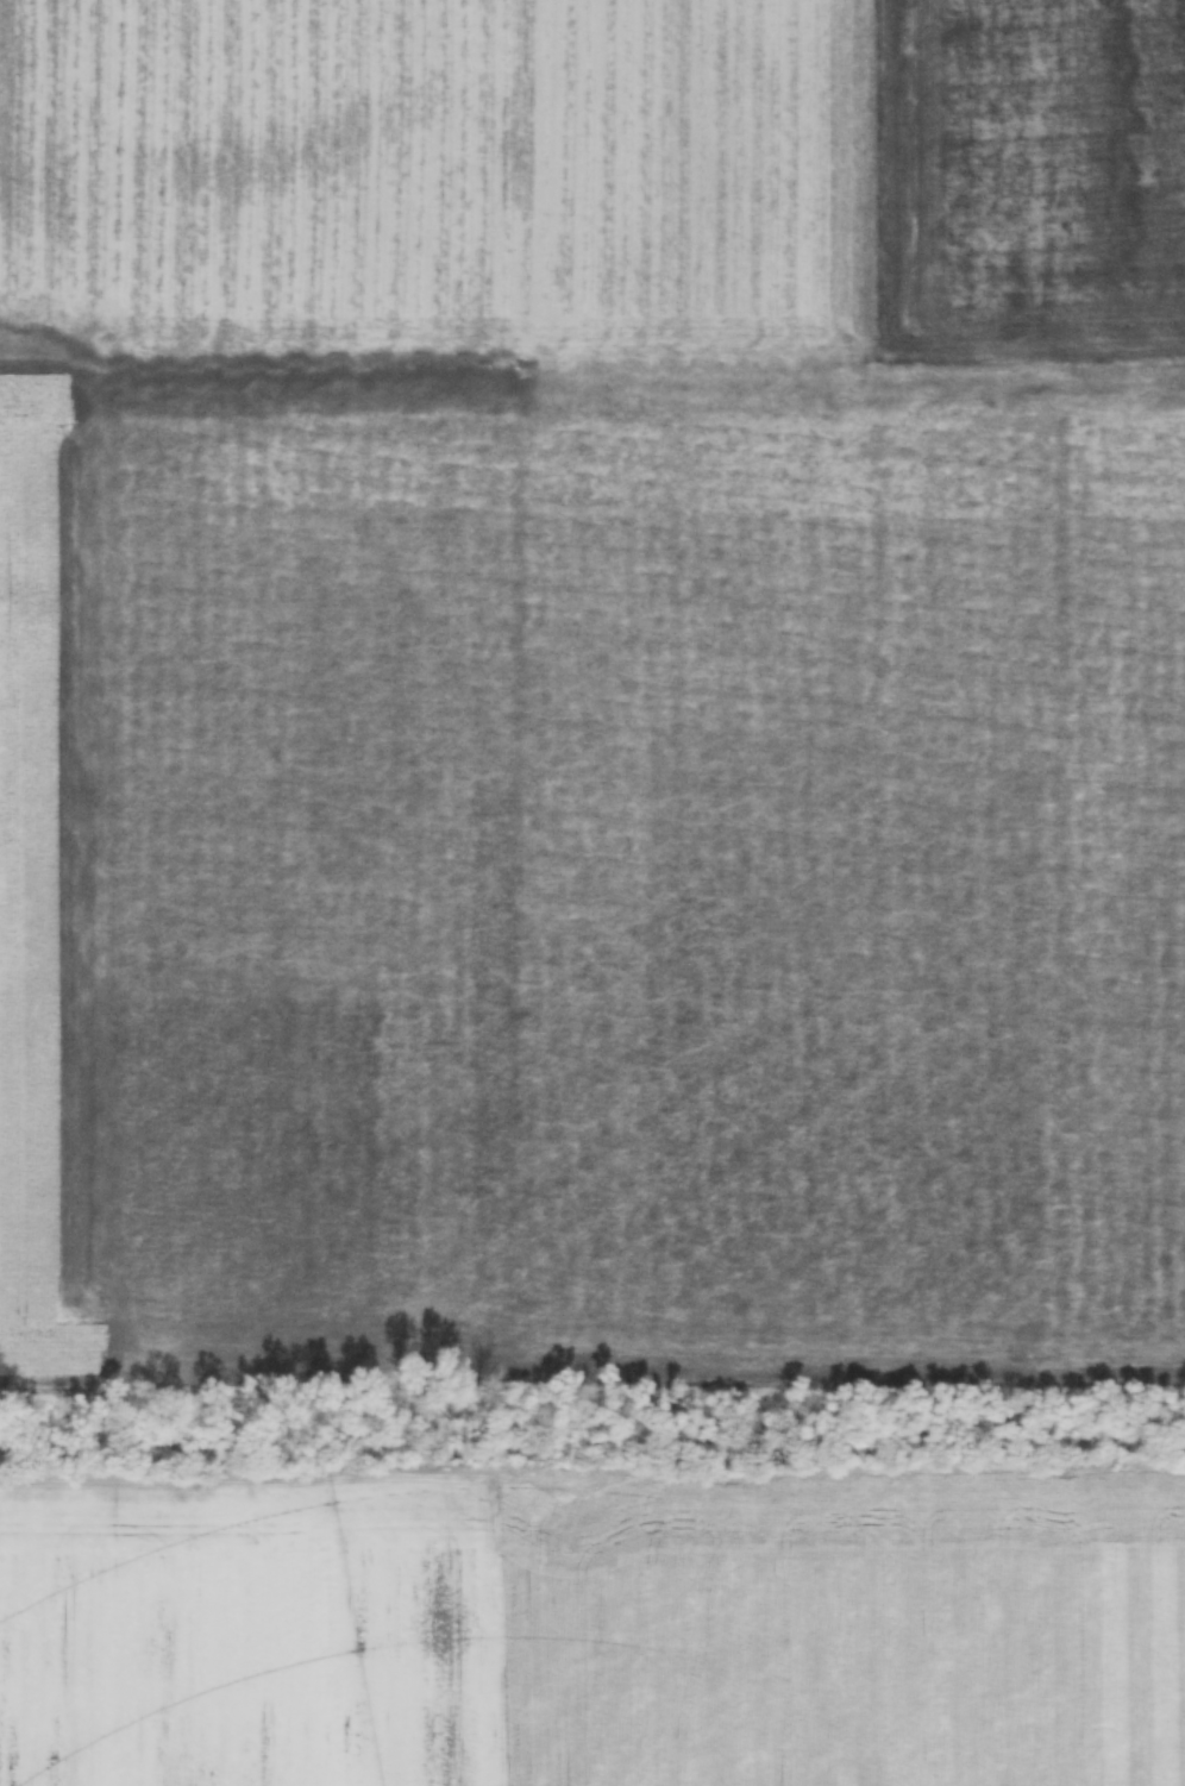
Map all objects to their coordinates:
crop: (596, 1635)

